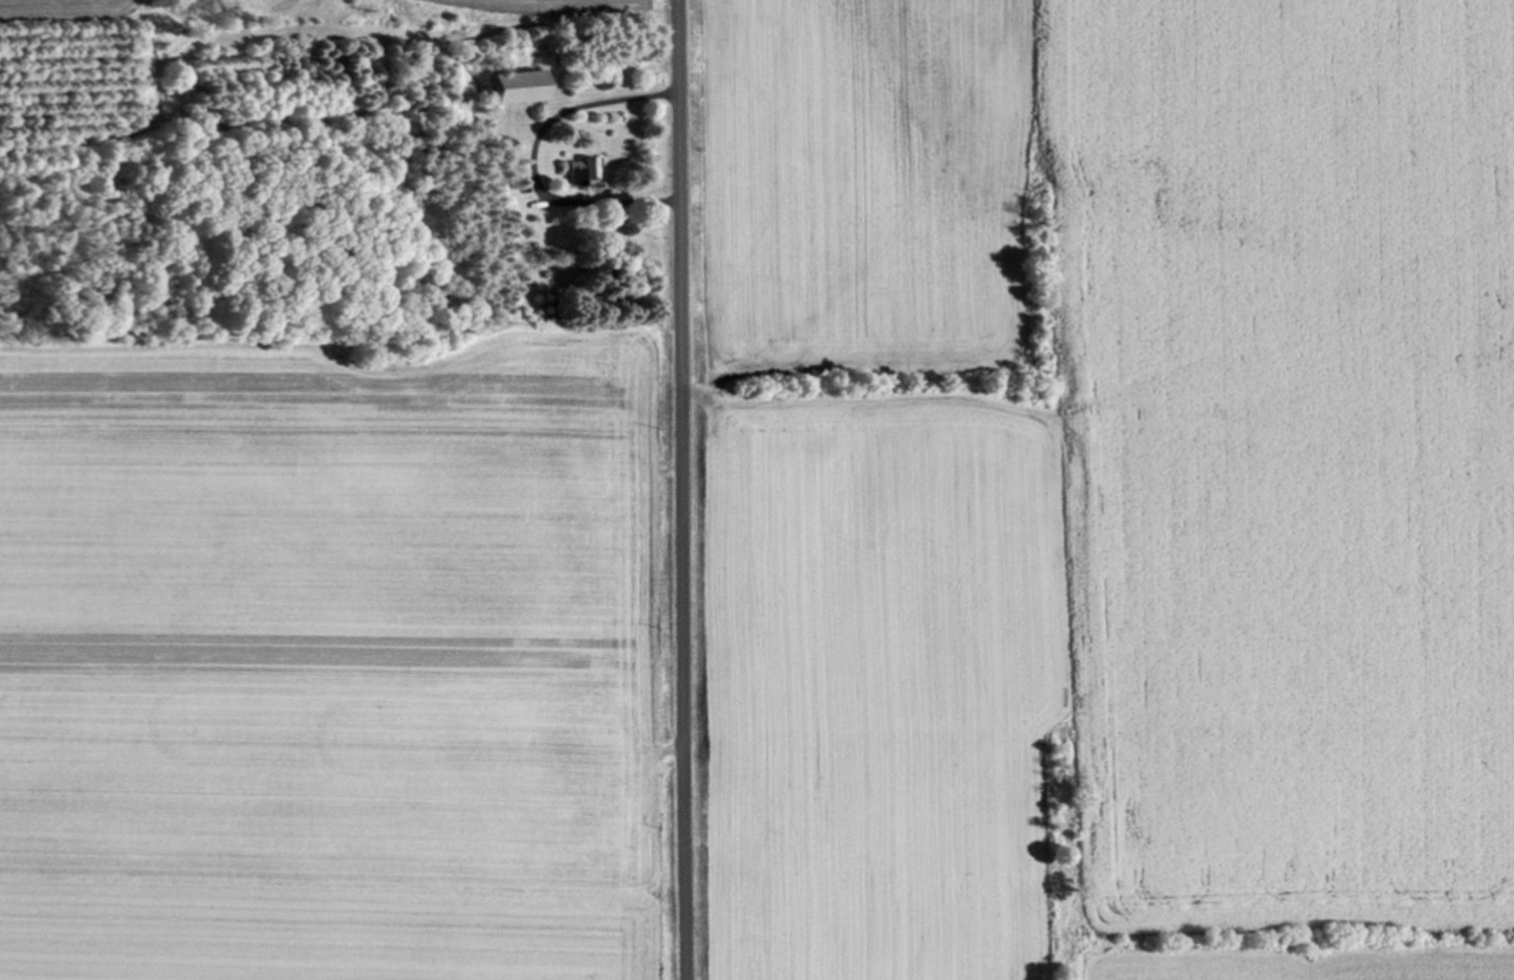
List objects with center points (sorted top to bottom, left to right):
building: (515, 89)
building: (582, 172)
road: (681, 490)

